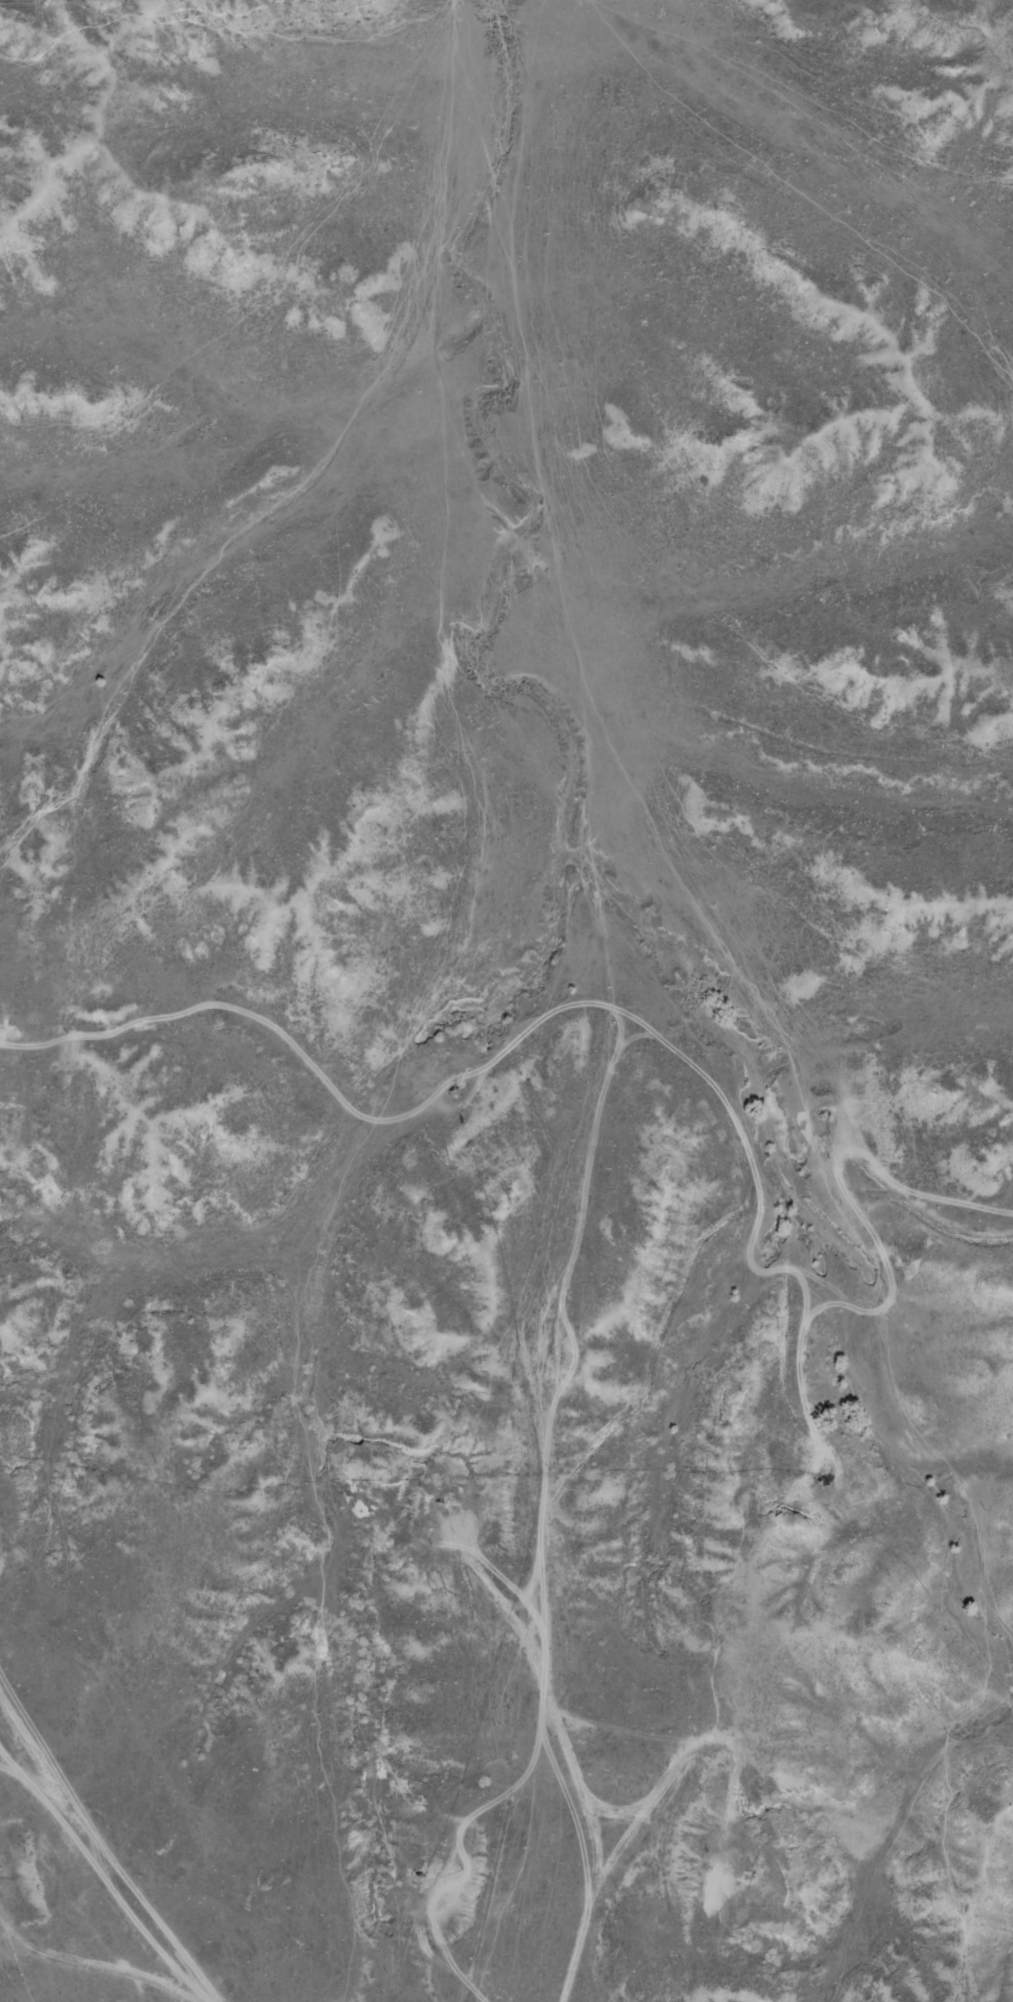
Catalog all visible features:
road: (115, 1855)

